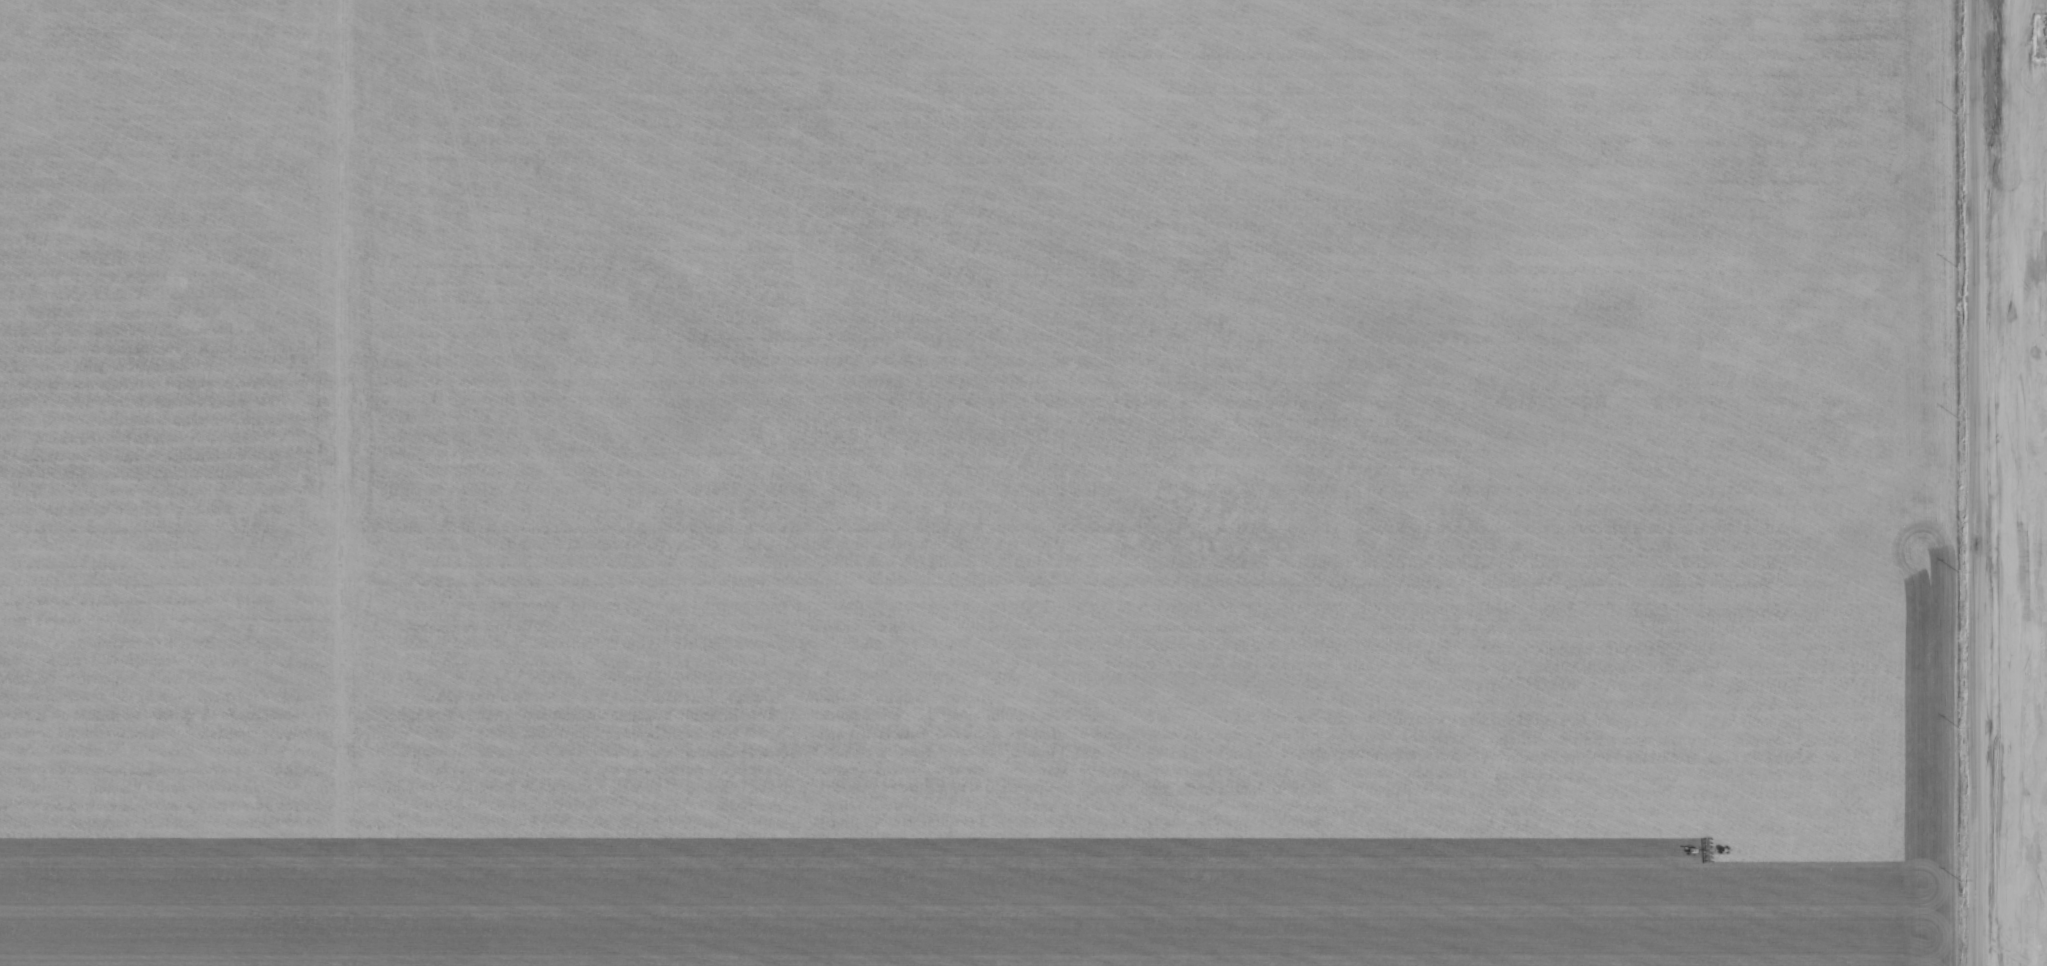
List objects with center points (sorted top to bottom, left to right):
road: (1975, 482)

